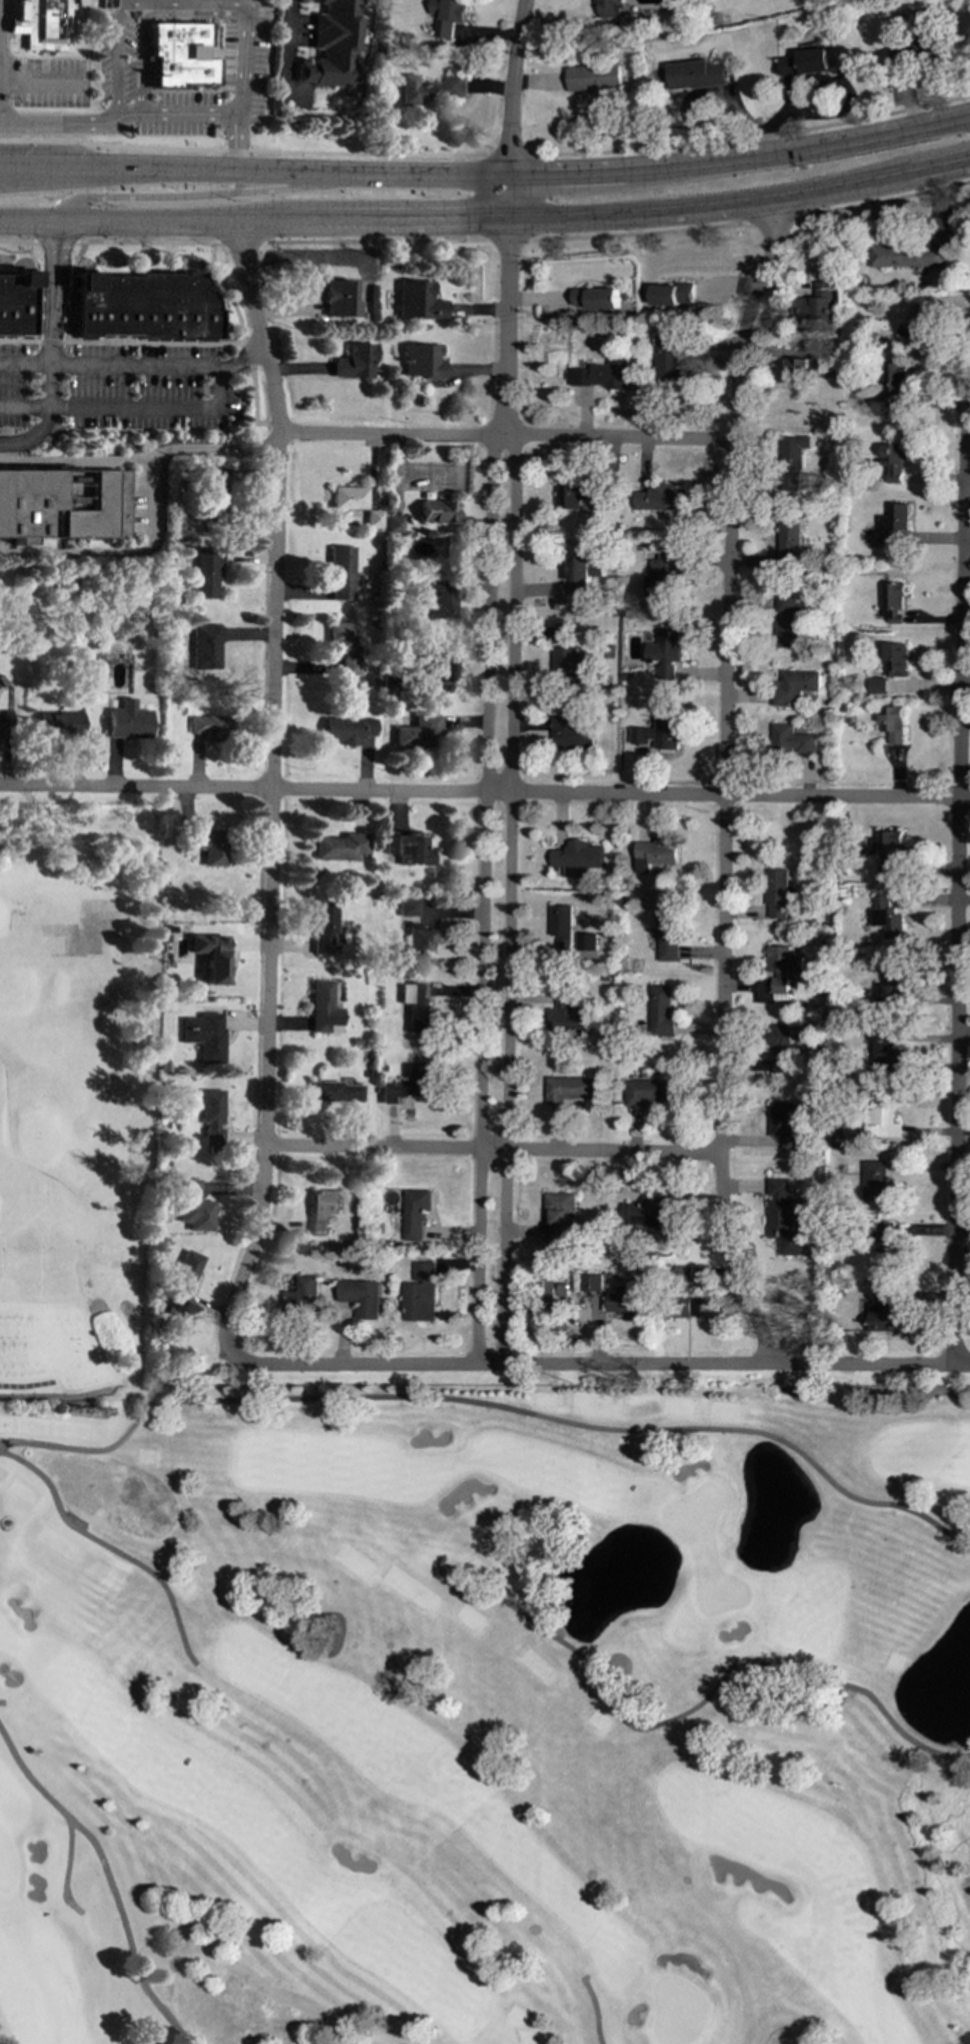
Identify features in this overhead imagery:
road: (130, 3)
building: (607, 7)
building: (448, 16)
building: (43, 23)
road: (289, 39)
building: (332, 45)
building: (181, 54)
building: (807, 63)
parking lot: (187, 66)
parking lot: (38, 74)
building: (698, 75)
building: (596, 79)
road: (243, 86)
building: (432, 89)
road: (174, 117)
road: (511, 119)
road: (63, 126)
road: (752, 136)
road: (244, 150)
road: (510, 155)
road: (10, 161)
road: (117, 166)
road: (605, 172)
road: (84, 177)
road: (201, 194)
road: (466, 197)
road: (884, 201)
road: (740, 204)
road: (773, 219)
road: (374, 220)
road: (120, 221)
road: (638, 233)
road: (18, 239)
road: (508, 239)
road: (56, 240)
road: (374, 240)
road: (148, 241)
road: (242, 241)
building: (908, 256)
building: (673, 295)
building: (338, 298)
building: (597, 299)
building: (414, 300)
building: (15, 304)
building: (815, 304)
building: (144, 308)
road: (507, 321)
building: (917, 329)
road: (51, 348)
building: (419, 360)
building: (668, 360)
building: (352, 361)
road: (25, 363)
road: (160, 365)
building: (799, 368)
building: (828, 369)
building: (605, 374)
building: (892, 386)
road: (23, 405)
road: (154, 408)
road: (505, 438)
road: (212, 450)
road: (75, 461)
building: (794, 461)
building: (895, 462)
building: (214, 490)
building: (574, 493)
building: (347, 497)
building: (660, 498)
building: (62, 503)
building: (436, 511)
building: (372, 517)
building: (393, 522)
building: (895, 523)
building: (791, 541)
road: (115, 553)
building: (205, 569)
building: (339, 572)
building: (583, 574)
building: (665, 576)
building: (437, 600)
building: (894, 603)
building: (791, 622)
building: (565, 632)
building: (343, 646)
building: (205, 648)
building: (668, 653)
building: (897, 660)
building: (568, 661)
building: (442, 666)
building: (878, 686)
building: (797, 687)
building: (127, 720)
building: (895, 723)
building: (3, 724)
building: (58, 724)
building: (208, 726)
building: (345, 729)
building: (416, 730)
building: (662, 731)
building: (572, 734)
building: (793, 741)
road: (726, 783)
road: (271, 787)
road: (485, 793)
building: (207, 846)
building: (340, 846)
building: (407, 848)
building: (890, 850)
building: (655, 855)
building: (578, 858)
road: (483, 883)
road: (959, 883)
road: (509, 884)
building: (779, 894)
building: (407, 907)
building: (888, 919)
building: (321, 926)
building: (560, 930)
building: (668, 932)
building: (417, 939)
building: (586, 942)
building: (208, 956)
building: (782, 967)
building: (892, 985)
building: (415, 1004)
building: (322, 1008)
building: (661, 1011)
building: (567, 1014)
building: (202, 1034)
building: (782, 1049)
building: (885, 1052)
building: (407, 1084)
building: (570, 1090)
building: (334, 1091)
building: (649, 1092)
building: (210, 1116)
building: (882, 1117)
building: (786, 1126)
road: (492, 1151)
building: (880, 1178)
building: (193, 1206)
building: (322, 1209)
building: (415, 1213)
building: (650, 1213)
building: (561, 1216)
building: (784, 1219)
building: (887, 1252)
building: (185, 1270)
building: (683, 1273)
building: (591, 1283)
building: (420, 1294)
building: (361, 1298)
building: (303, 1299)
building: (620, 1304)
building: (684, 1307)
building: (883, 1313)
road: (597, 1366)
road: (491, 1405)
road: (108, 1548)
park: (438, 1642)
road: (2, 1702)
road: (619, 1717)
road: (917, 1744)
road: (66, 1870)
road: (108, 1876)
road: (595, 2013)

